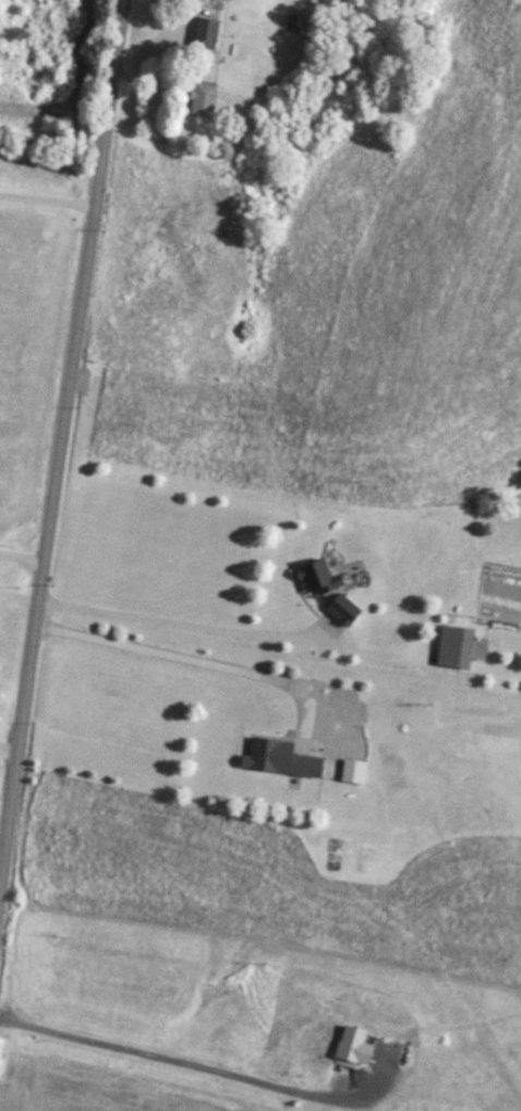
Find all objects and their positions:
building: (208, 33)
building: (205, 99)
road: (47, 205)
road: (60, 448)
road: (22, 556)
building: (320, 579)
building: (346, 609)
road: (179, 620)
building: (461, 648)
road: (180, 656)
road: (10, 748)
building: (282, 759)
building: (355, 771)
road: (169, 1059)

